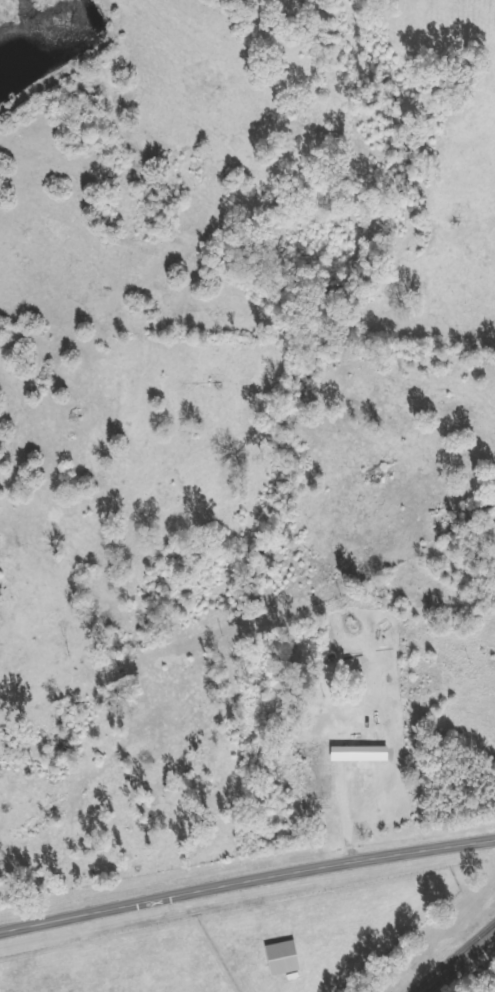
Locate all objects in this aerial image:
building: (314, 775)
road: (246, 880)
railway: (452, 956)
railway: (459, 961)

